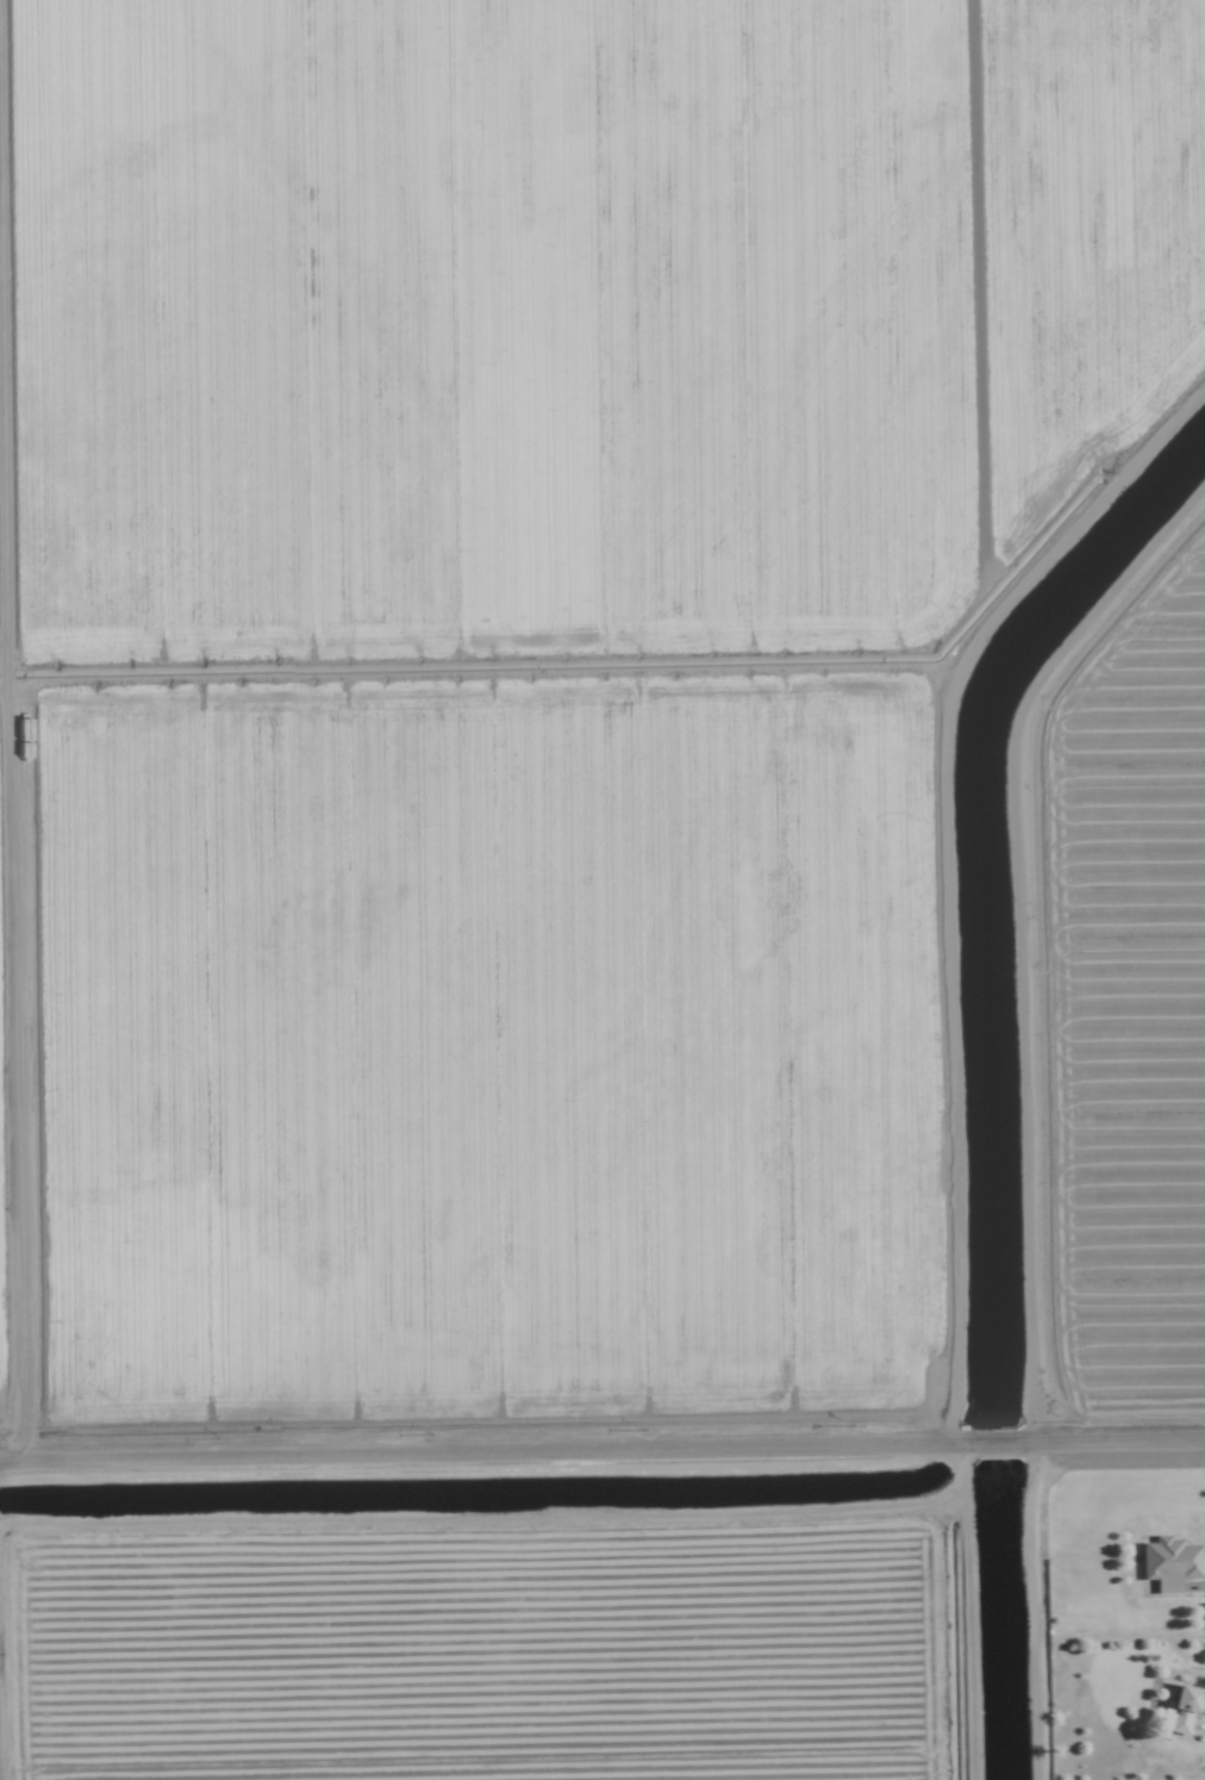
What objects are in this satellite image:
road: (1123, 1437)
road: (986, 1440)
road: (466, 1451)
building: (1167, 1556)
building: (1194, 1703)

